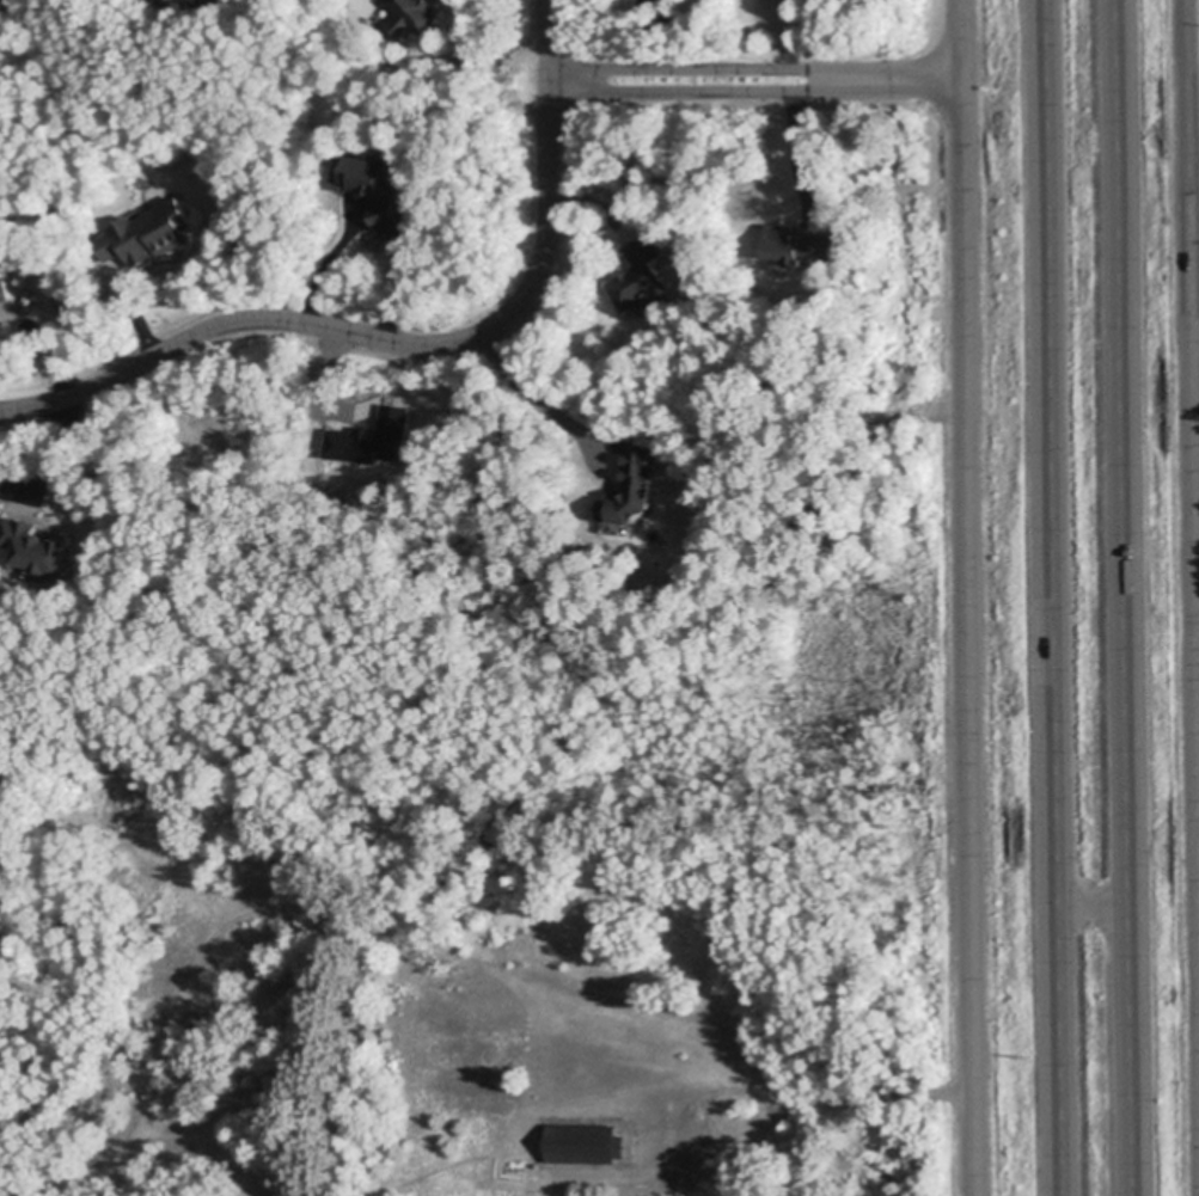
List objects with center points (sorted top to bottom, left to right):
building: (198, 0)
building: (167, 2)
building: (411, 14)
road: (714, 80)
road: (794, 154)
building: (372, 184)
building: (638, 184)
building: (146, 232)
building: (790, 247)
road: (329, 263)
building: (641, 274)
building: (4, 287)
road: (372, 339)
road: (538, 400)
building: (367, 441)
road: (1191, 470)
building: (631, 489)
building: (32, 541)
building: (683, 571)
road: (965, 597)
road: (1056, 597)
road: (1124, 597)
road: (1095, 906)
building: (758, 1118)
building: (588, 1145)
building: (778, 1145)

